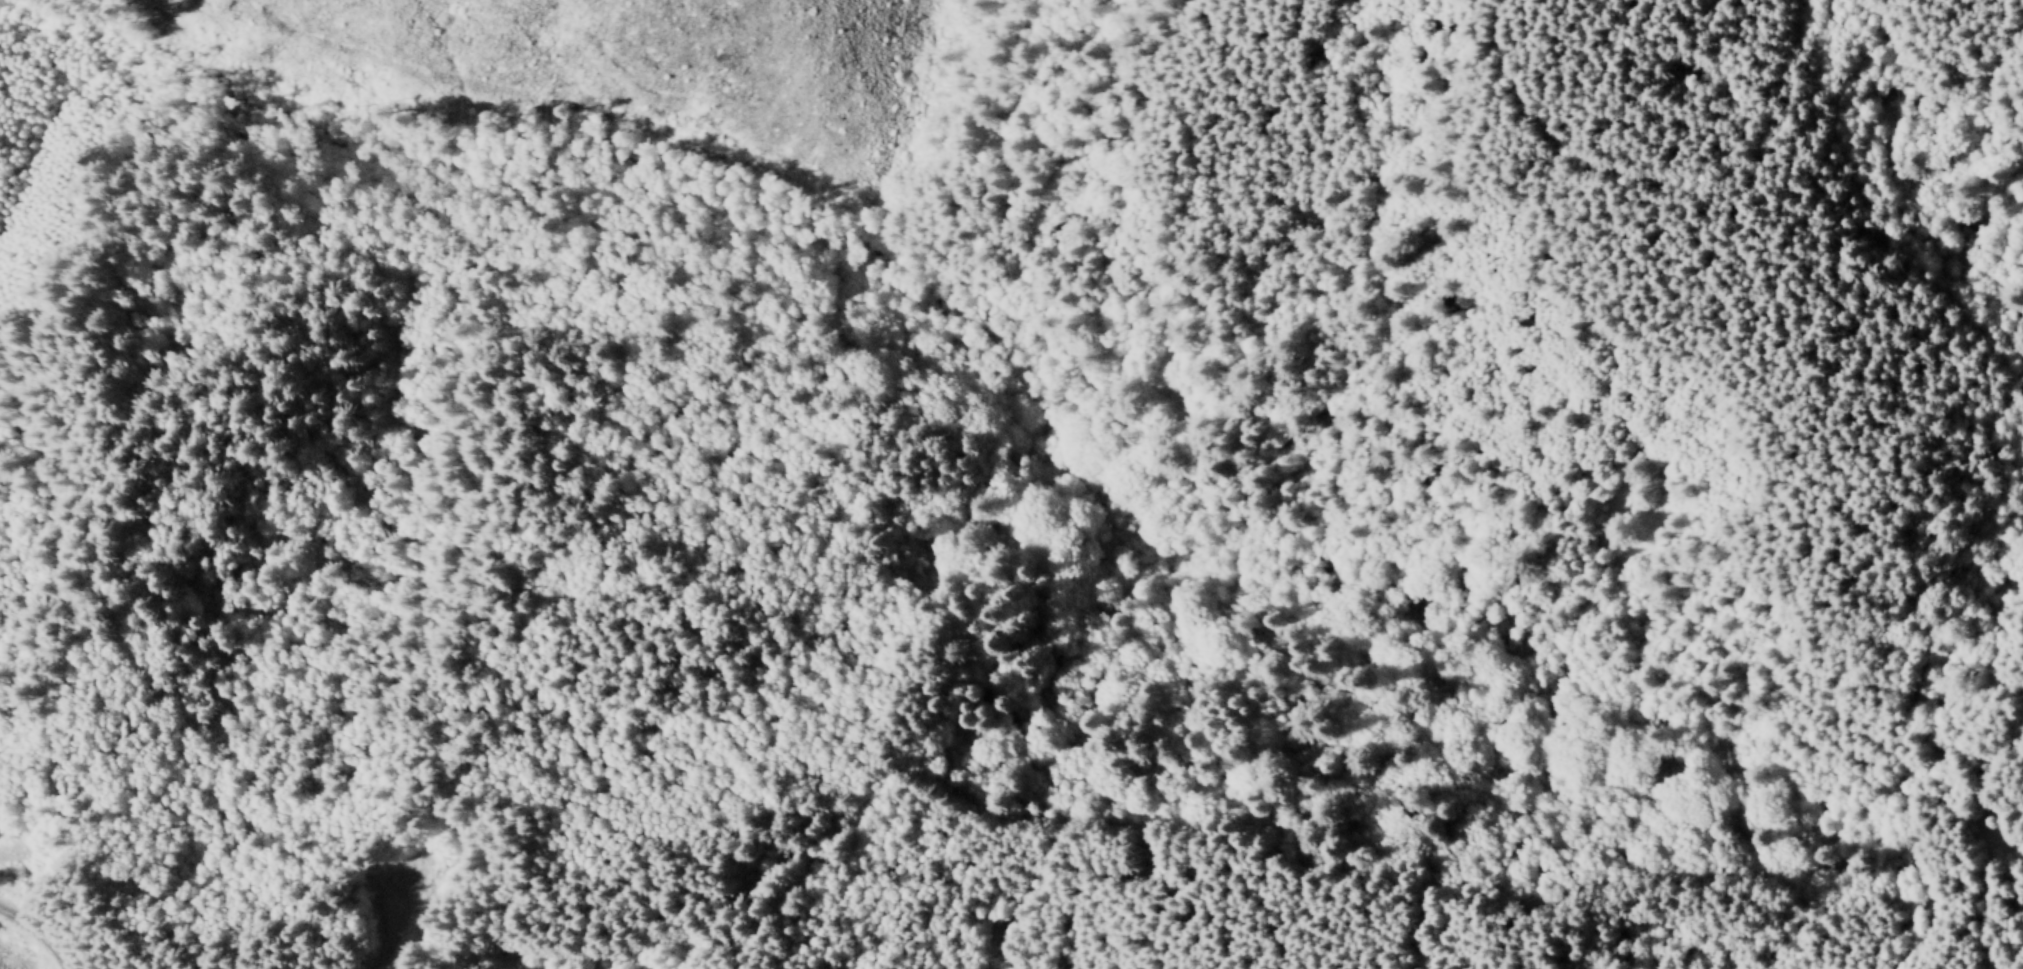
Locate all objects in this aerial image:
road: (1795, 109)
road: (1112, 402)
road: (907, 815)

